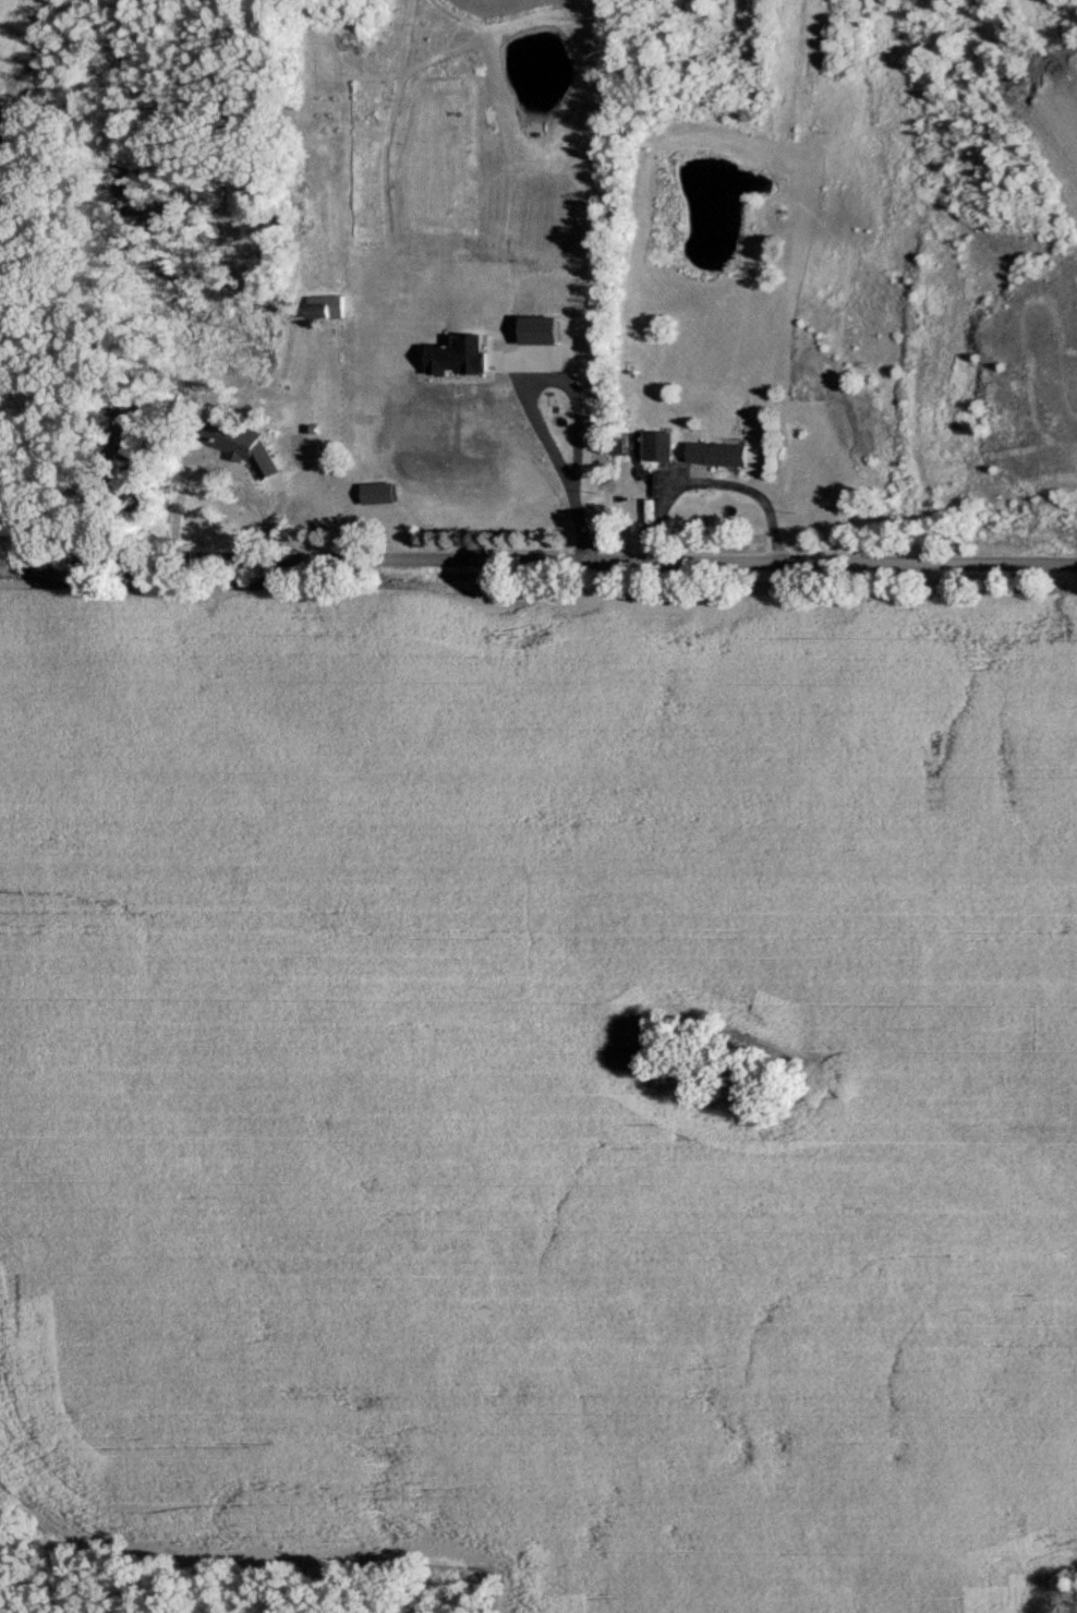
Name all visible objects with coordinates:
building: (323, 305)
building: (230, 436)
building: (657, 447)
road: (556, 454)
building: (715, 454)
road: (219, 464)
road: (712, 482)
building: (377, 493)
road: (537, 556)

